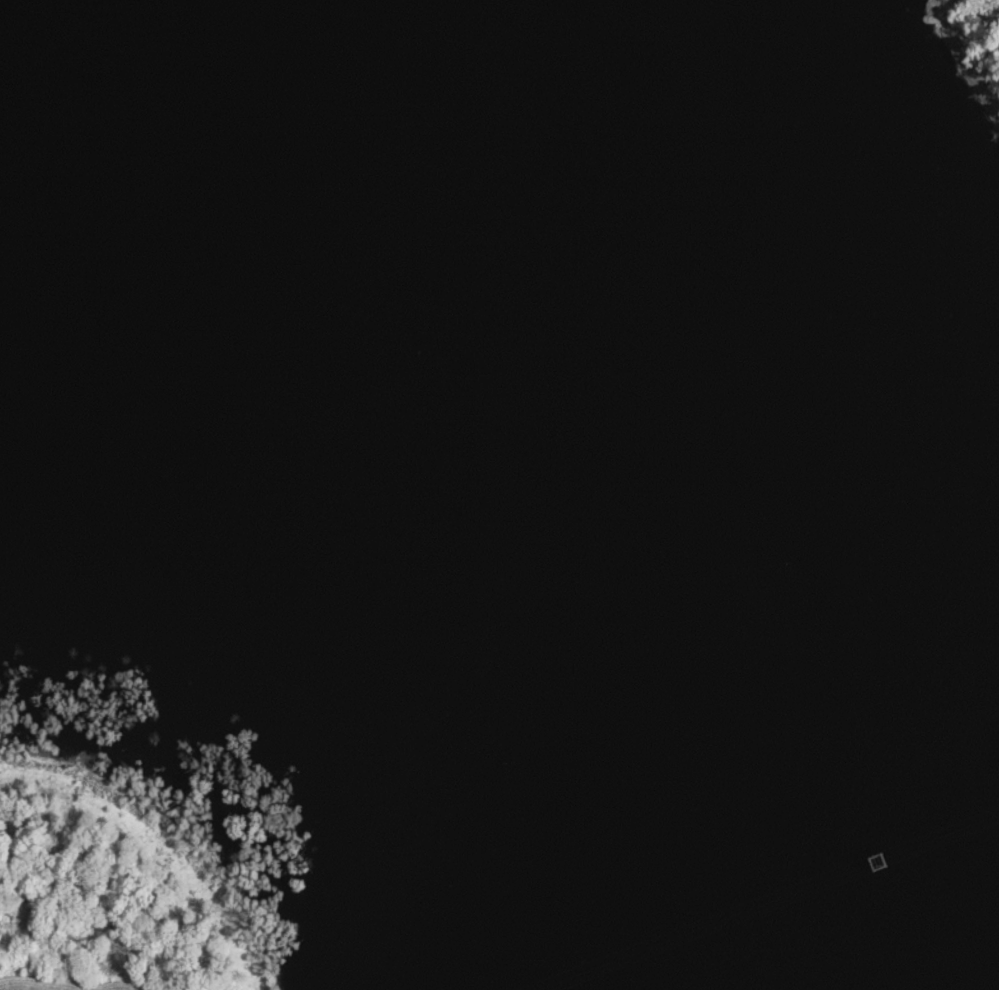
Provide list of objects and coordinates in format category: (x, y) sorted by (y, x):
power tower: (878, 857)

